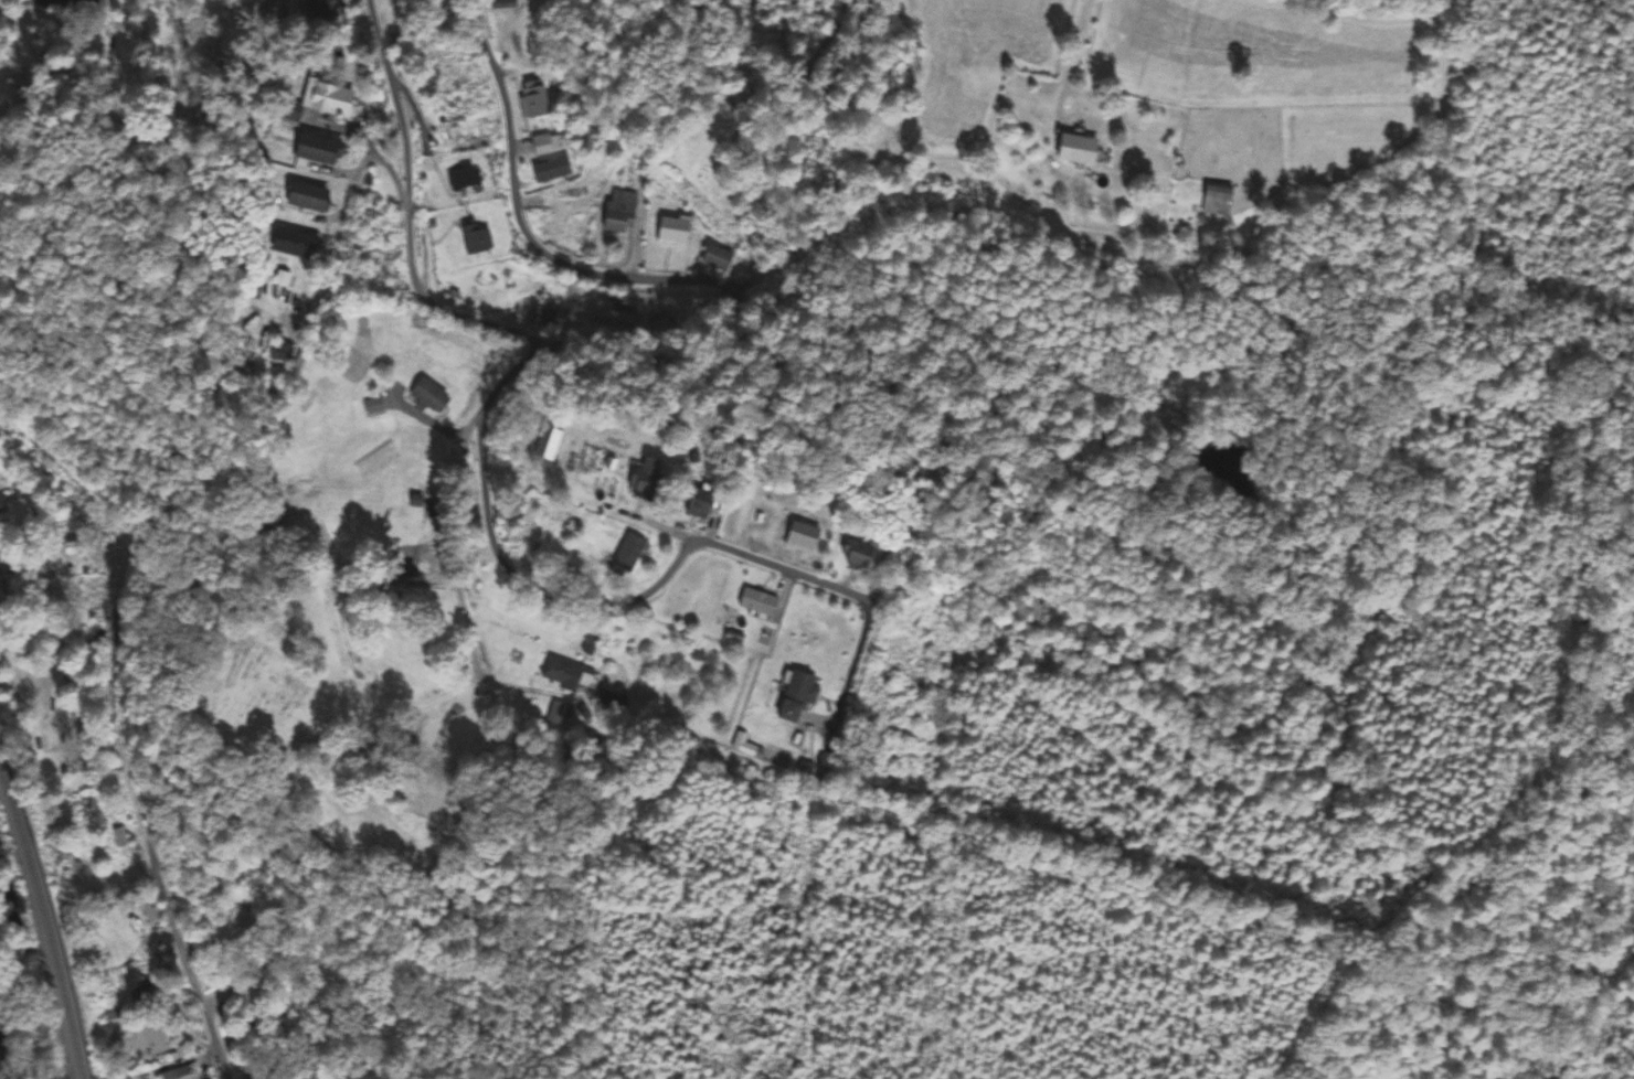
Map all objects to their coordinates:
building: (533, 99)
building: (320, 103)
road: (738, 131)
road: (368, 133)
building: (544, 143)
building: (315, 150)
building: (1076, 150)
building: (464, 180)
building: (306, 197)
building: (1217, 199)
building: (619, 212)
building: (566, 213)
road: (342, 215)
road: (523, 221)
road: (639, 222)
building: (673, 232)
building: (475, 237)
building: (291, 244)
building: (718, 258)
road: (444, 307)
building: (617, 313)
building: (547, 319)
building: (285, 354)
building: (429, 396)
road: (479, 417)
road: (17, 444)
building: (548, 445)
building: (646, 479)
building: (694, 504)
building: (802, 538)
building: (628, 554)
building: (857, 554)
road: (760, 560)
road: (530, 585)
building: (3, 594)
building: (758, 602)
building: (569, 675)
road: (852, 686)
building: (798, 694)
road: (121, 747)
building: (92, 812)
river: (9, 898)
railway: (49, 923)
building: (139, 936)
building: (138, 984)
building: (150, 1039)
building: (202, 1068)

